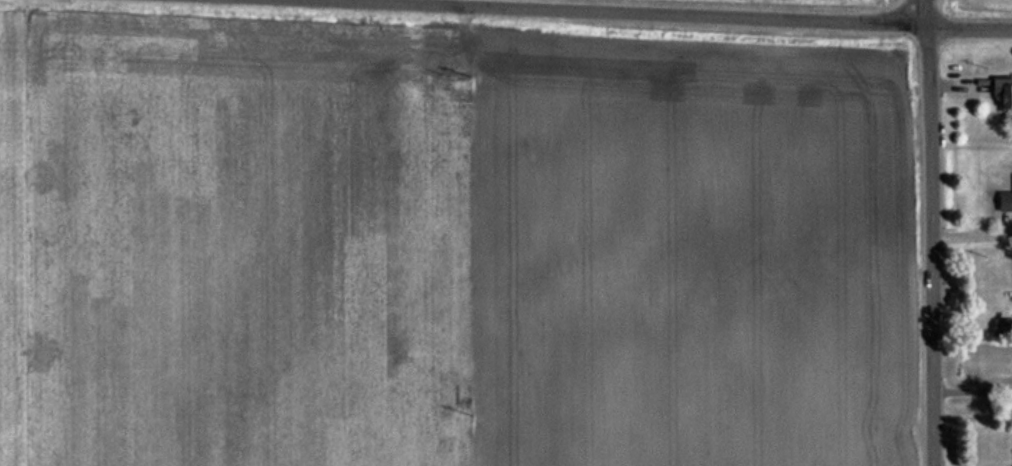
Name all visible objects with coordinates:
road: (652, 15)
building: (1002, 90)
building: (1006, 200)
road: (930, 233)
building: (1003, 326)

